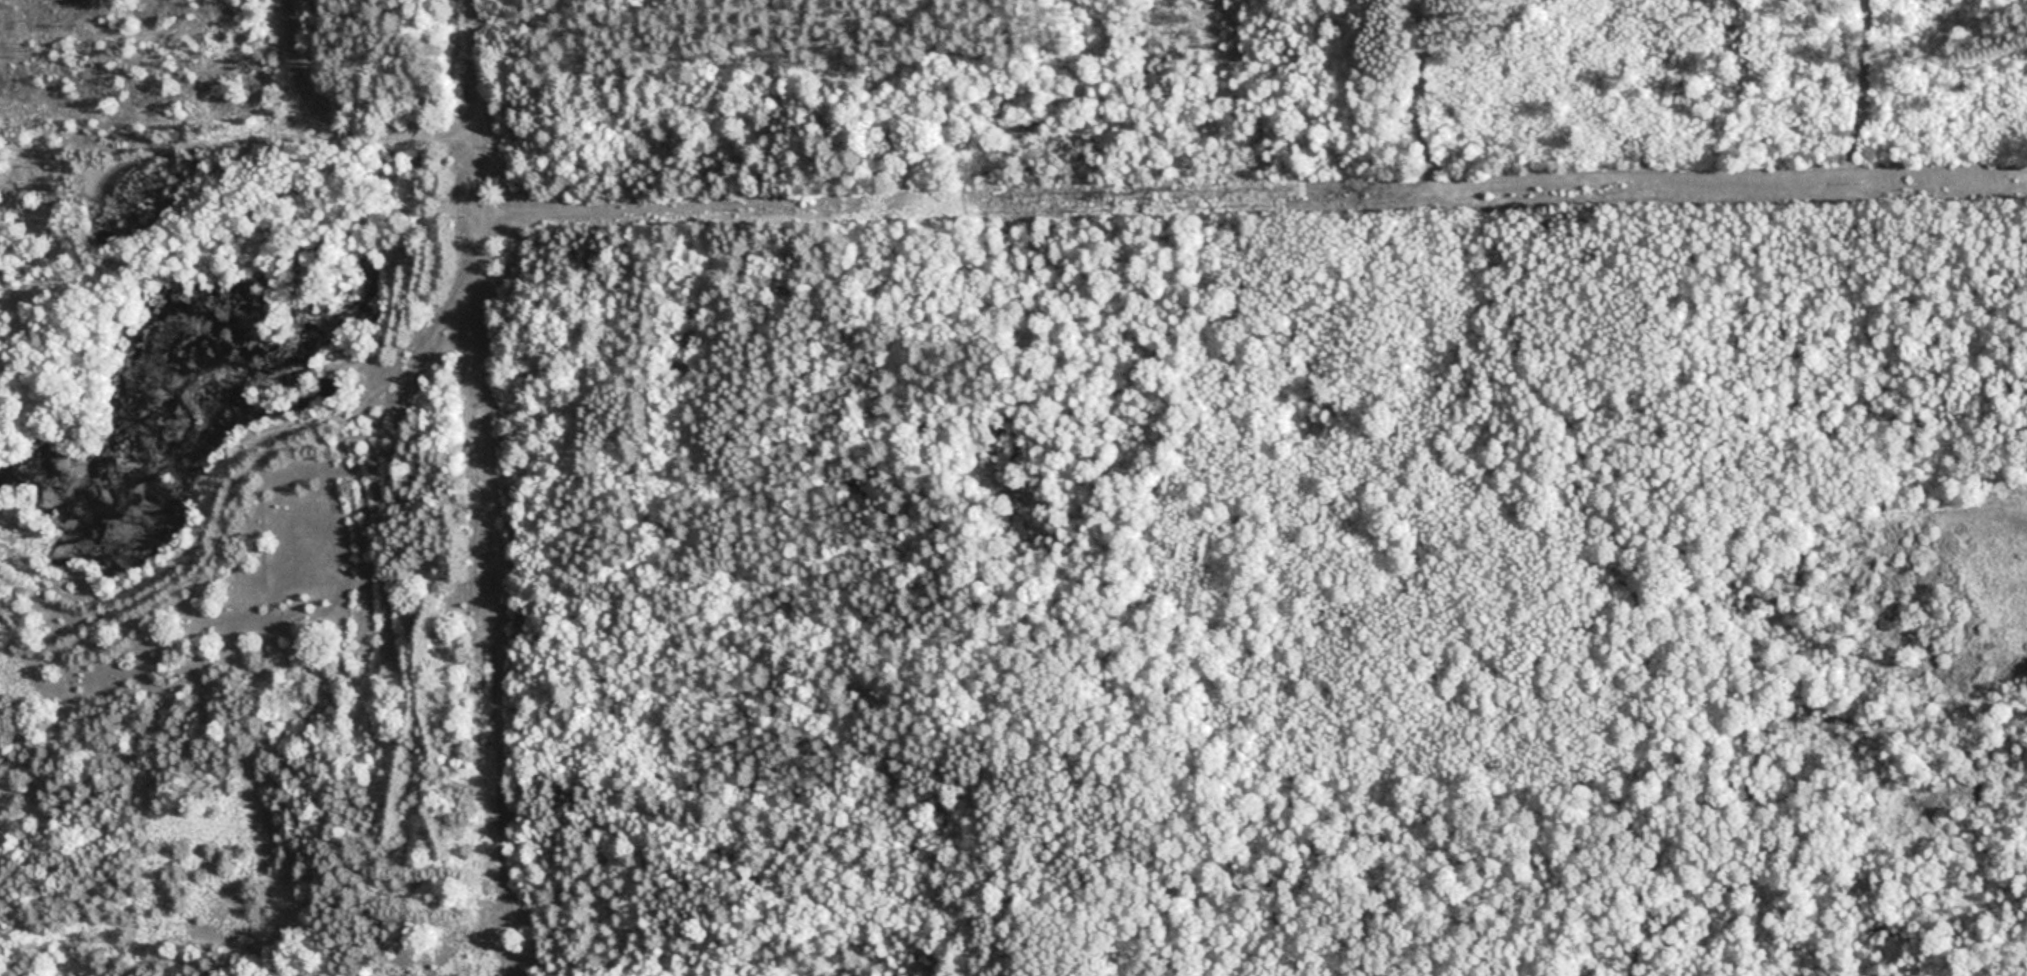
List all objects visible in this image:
road: (1548, 93)
road: (1834, 97)
road: (503, 487)
park: (1013, 488)
road: (1546, 488)

